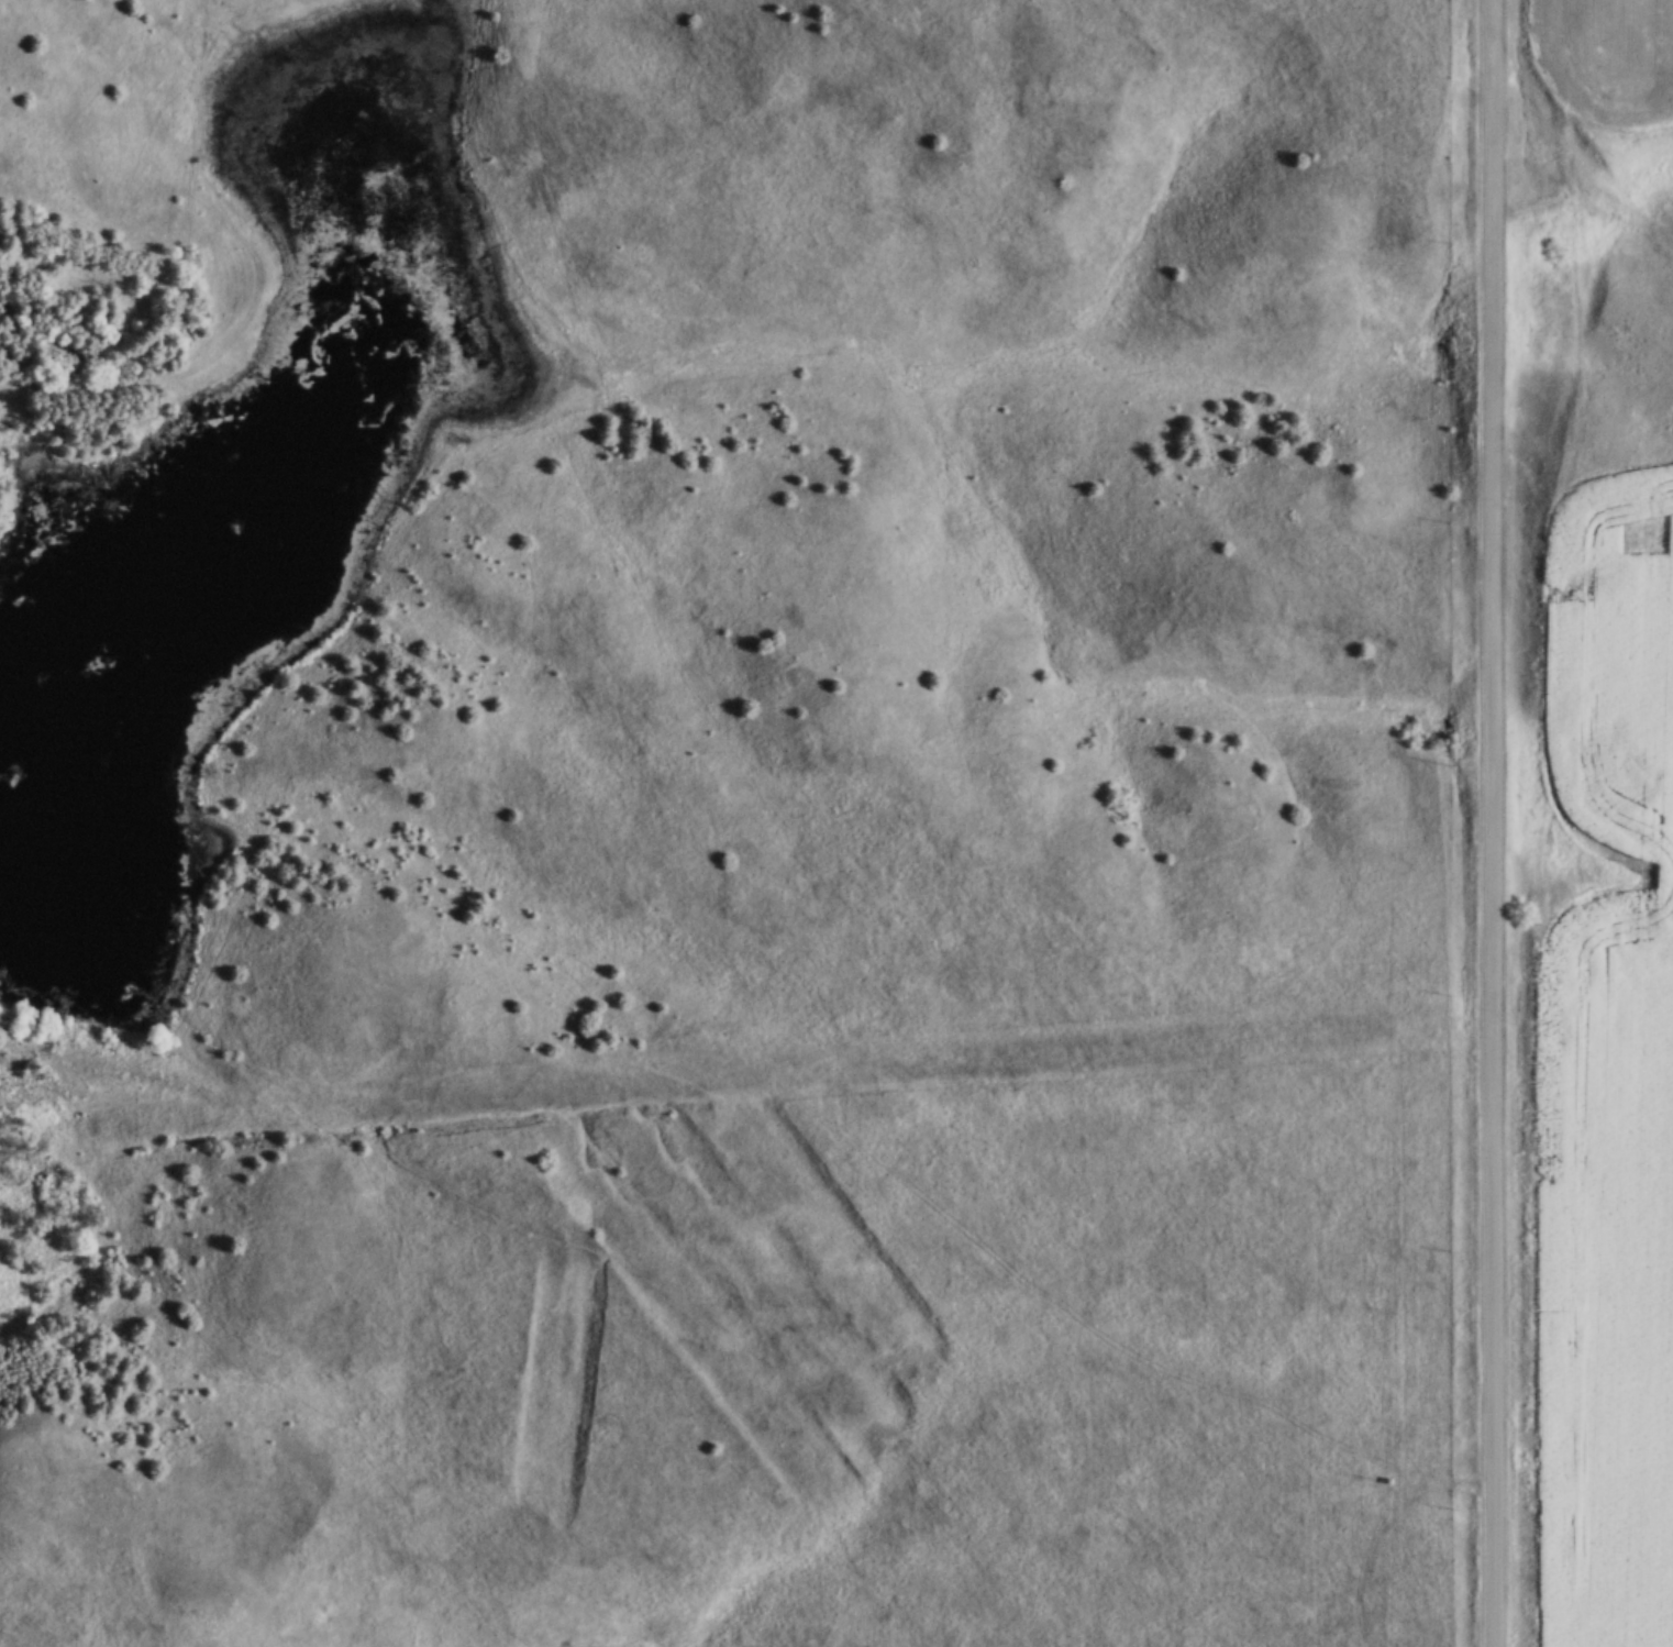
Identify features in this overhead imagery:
road: (1495, 824)

